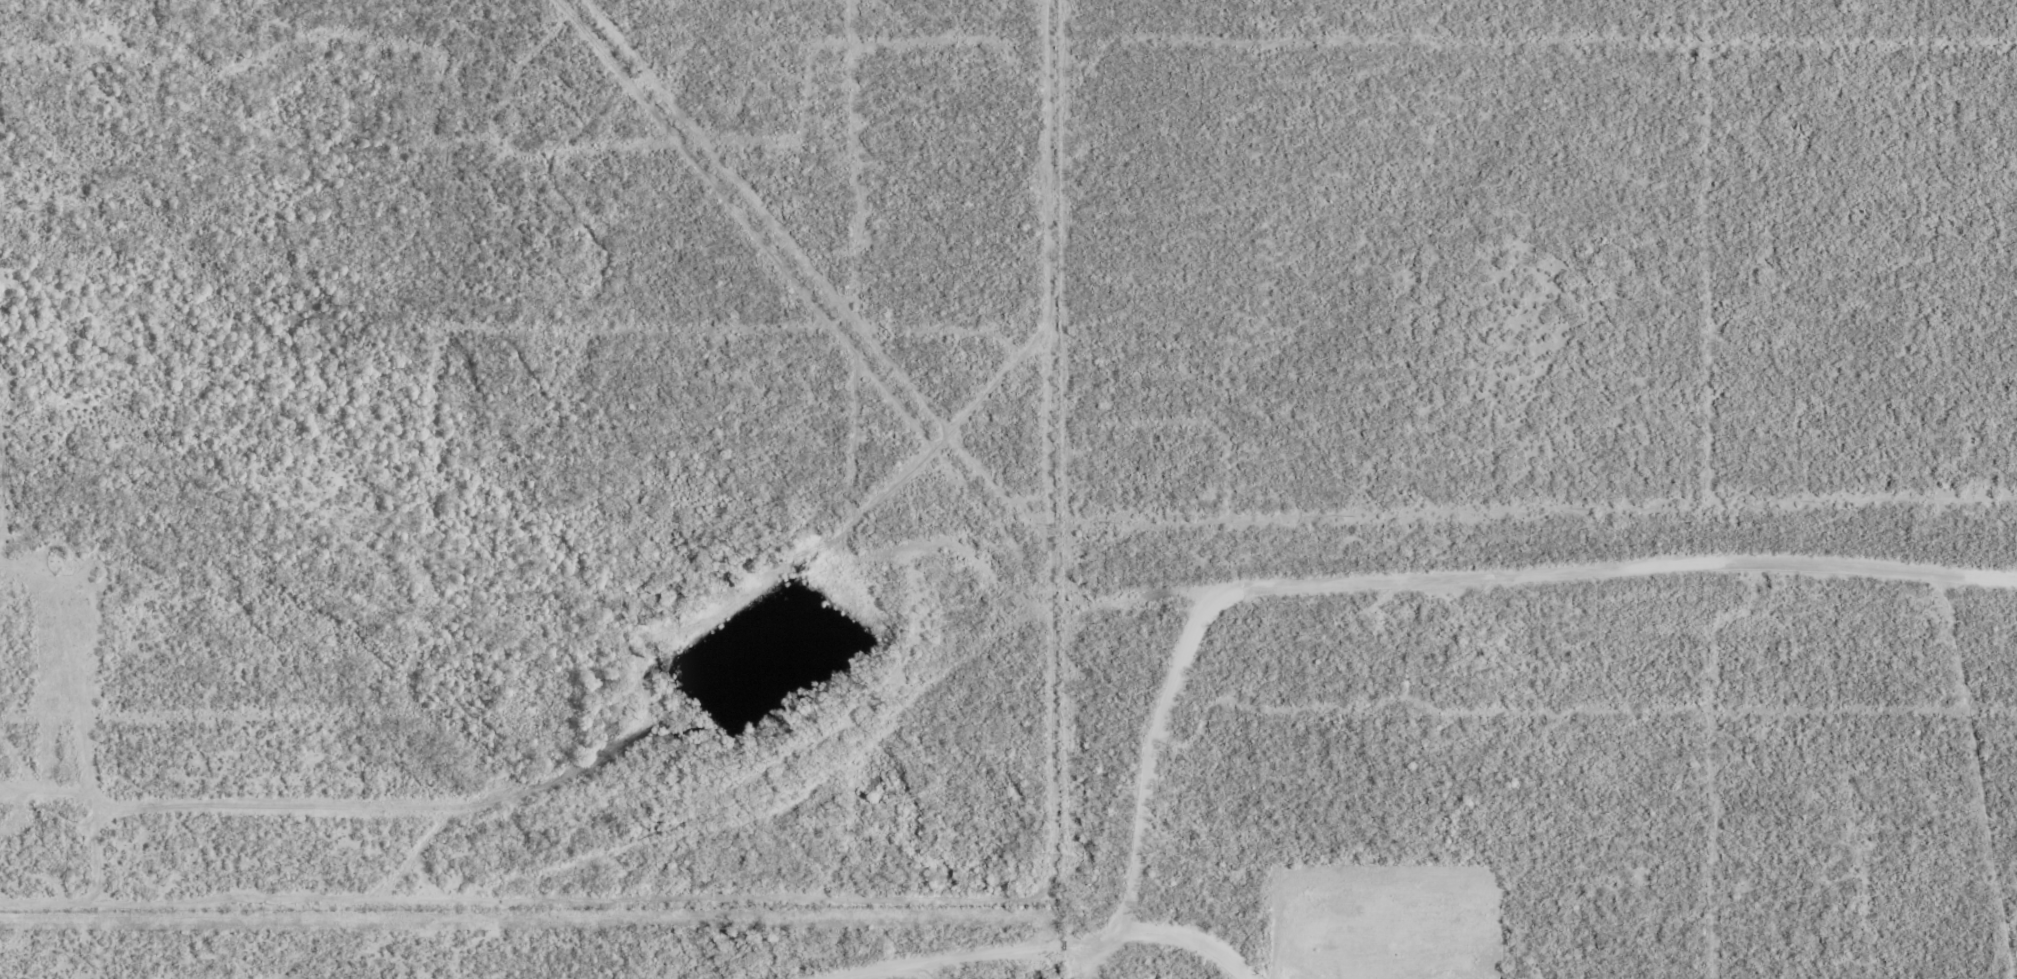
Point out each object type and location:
road: (1881, 568)
road: (1190, 641)

